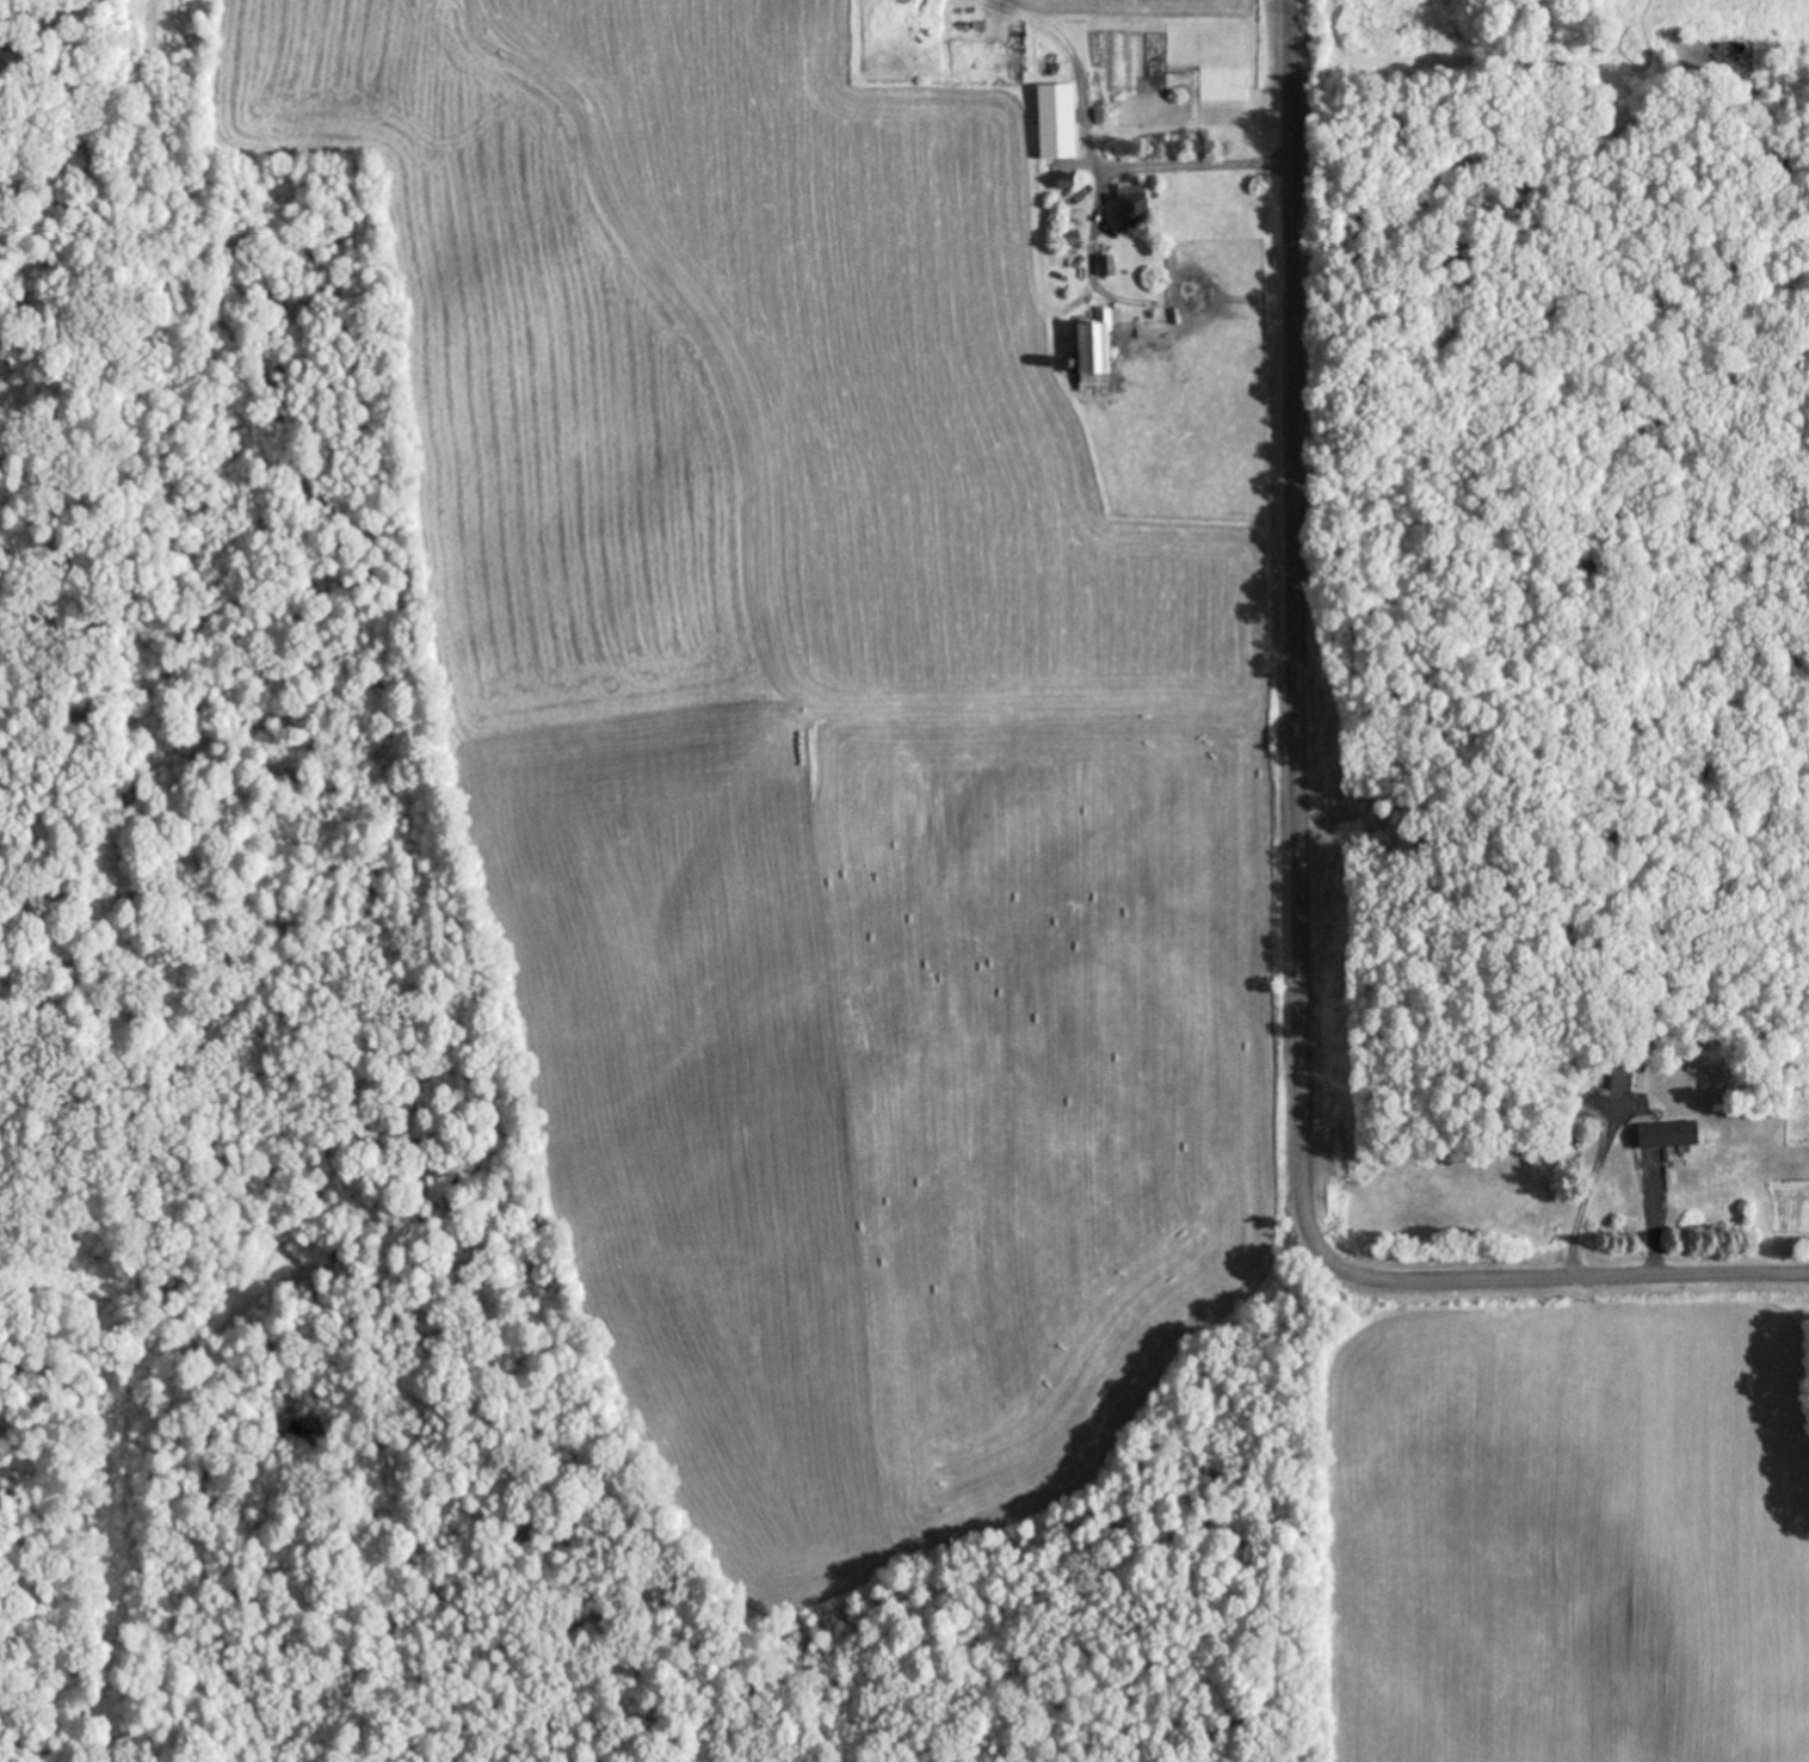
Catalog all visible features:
building: (1063, 138)
building: (1130, 209)
building: (1068, 241)
building: (1104, 267)
building: (1091, 357)
road: (1302, 876)
building: (1631, 1076)
building: (1665, 1138)

